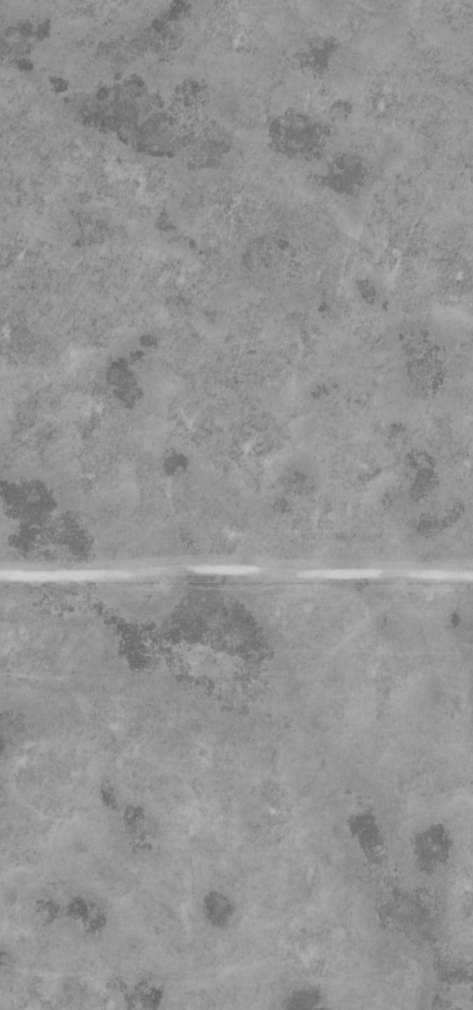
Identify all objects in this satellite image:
road: (236, 551)

